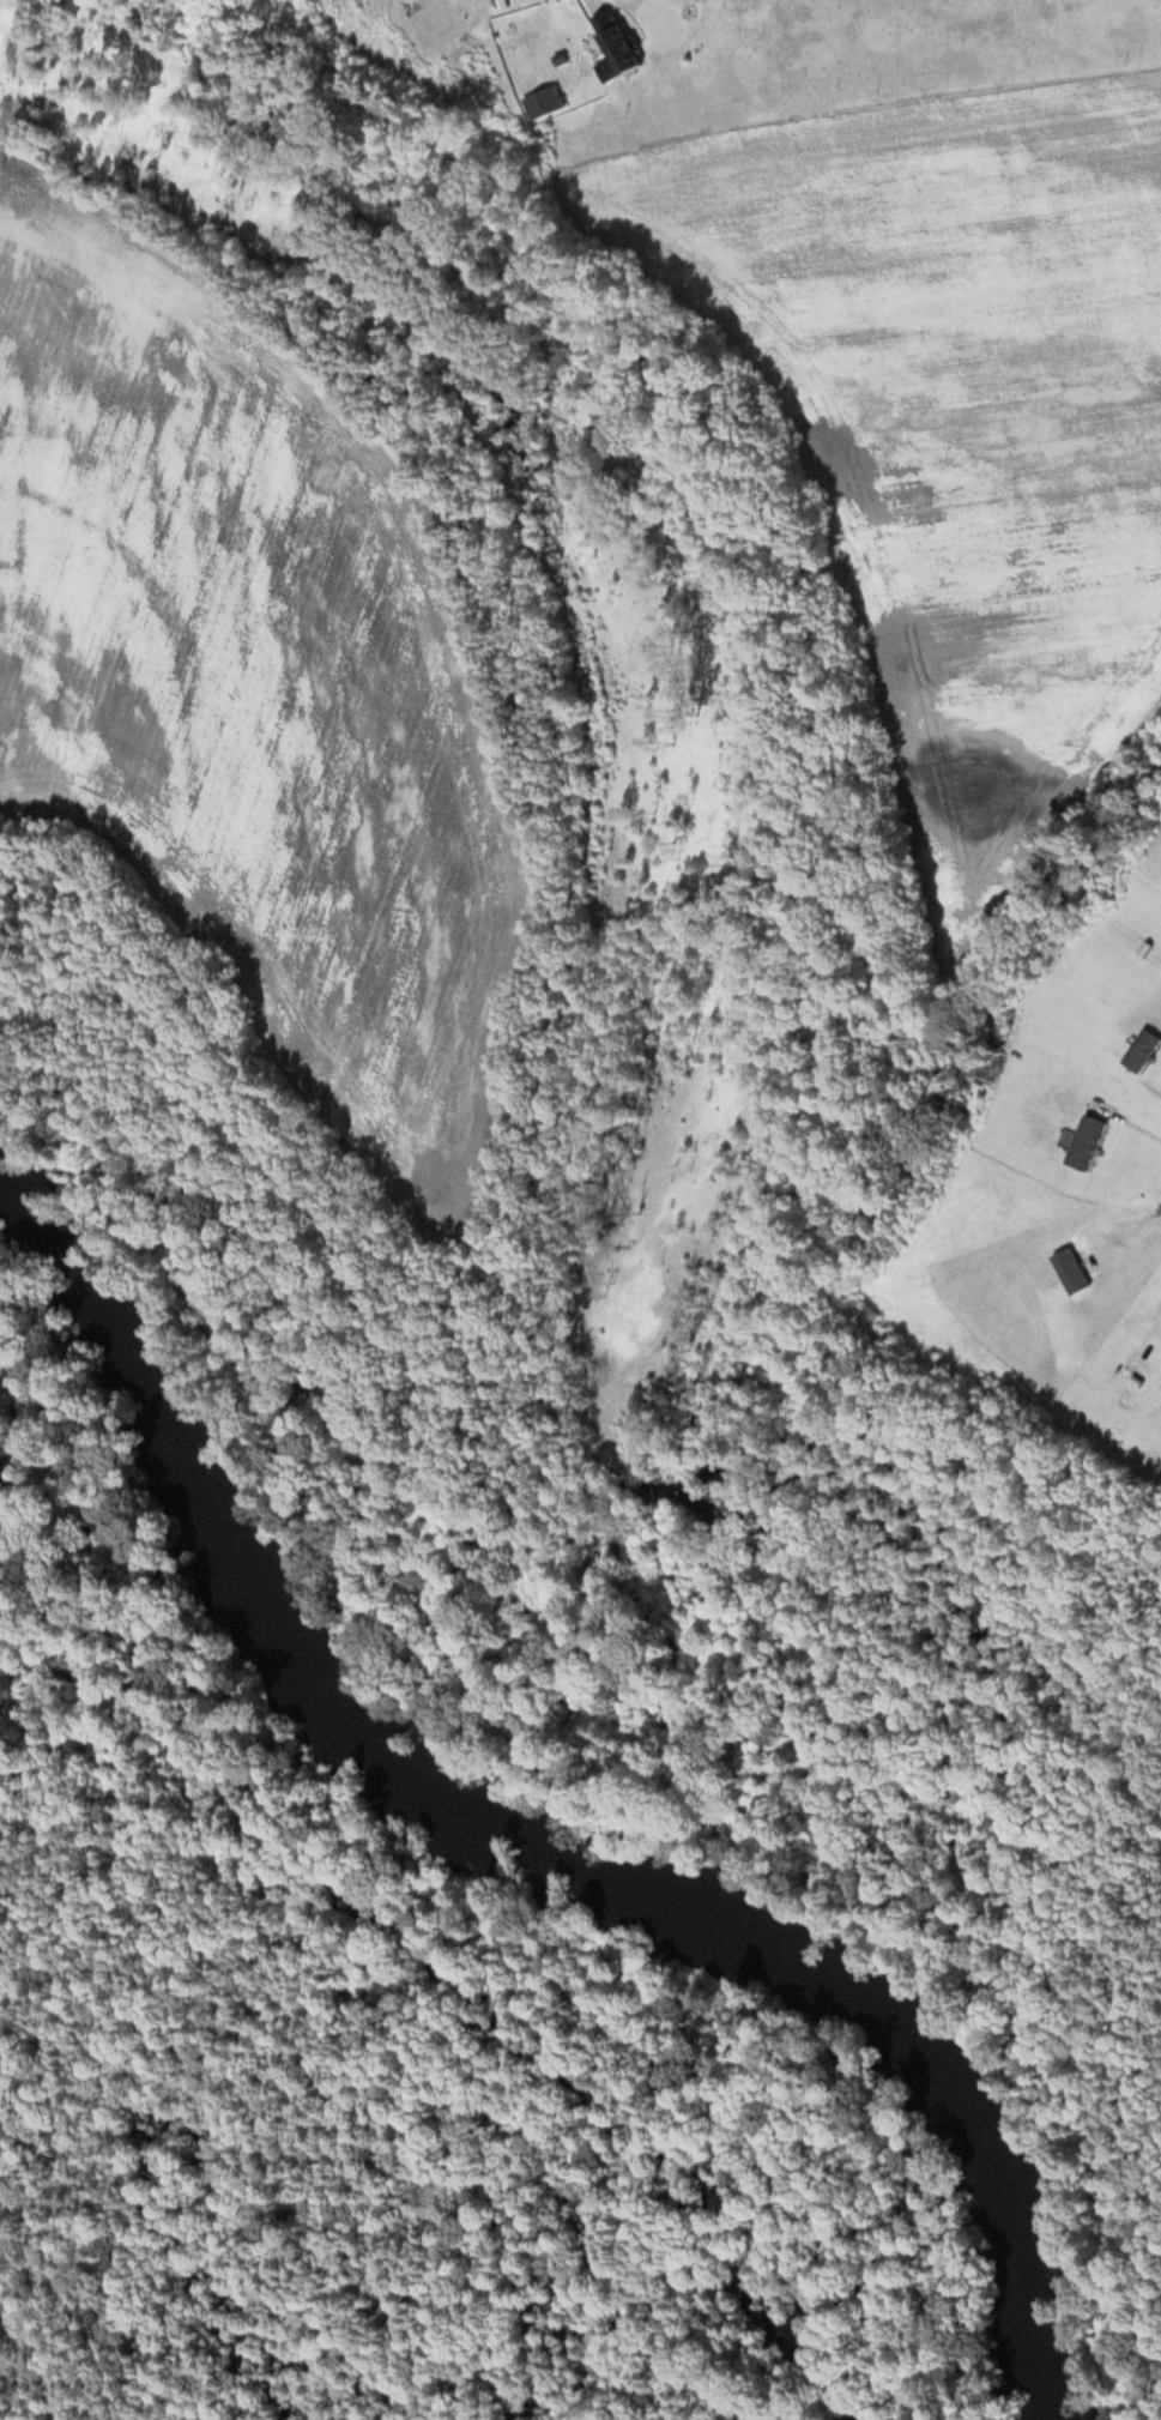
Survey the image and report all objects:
building: (615, 40)
building: (542, 101)
building: (1139, 1048)
building: (982, 1105)
building: (1084, 1140)
river: (522, 1825)

